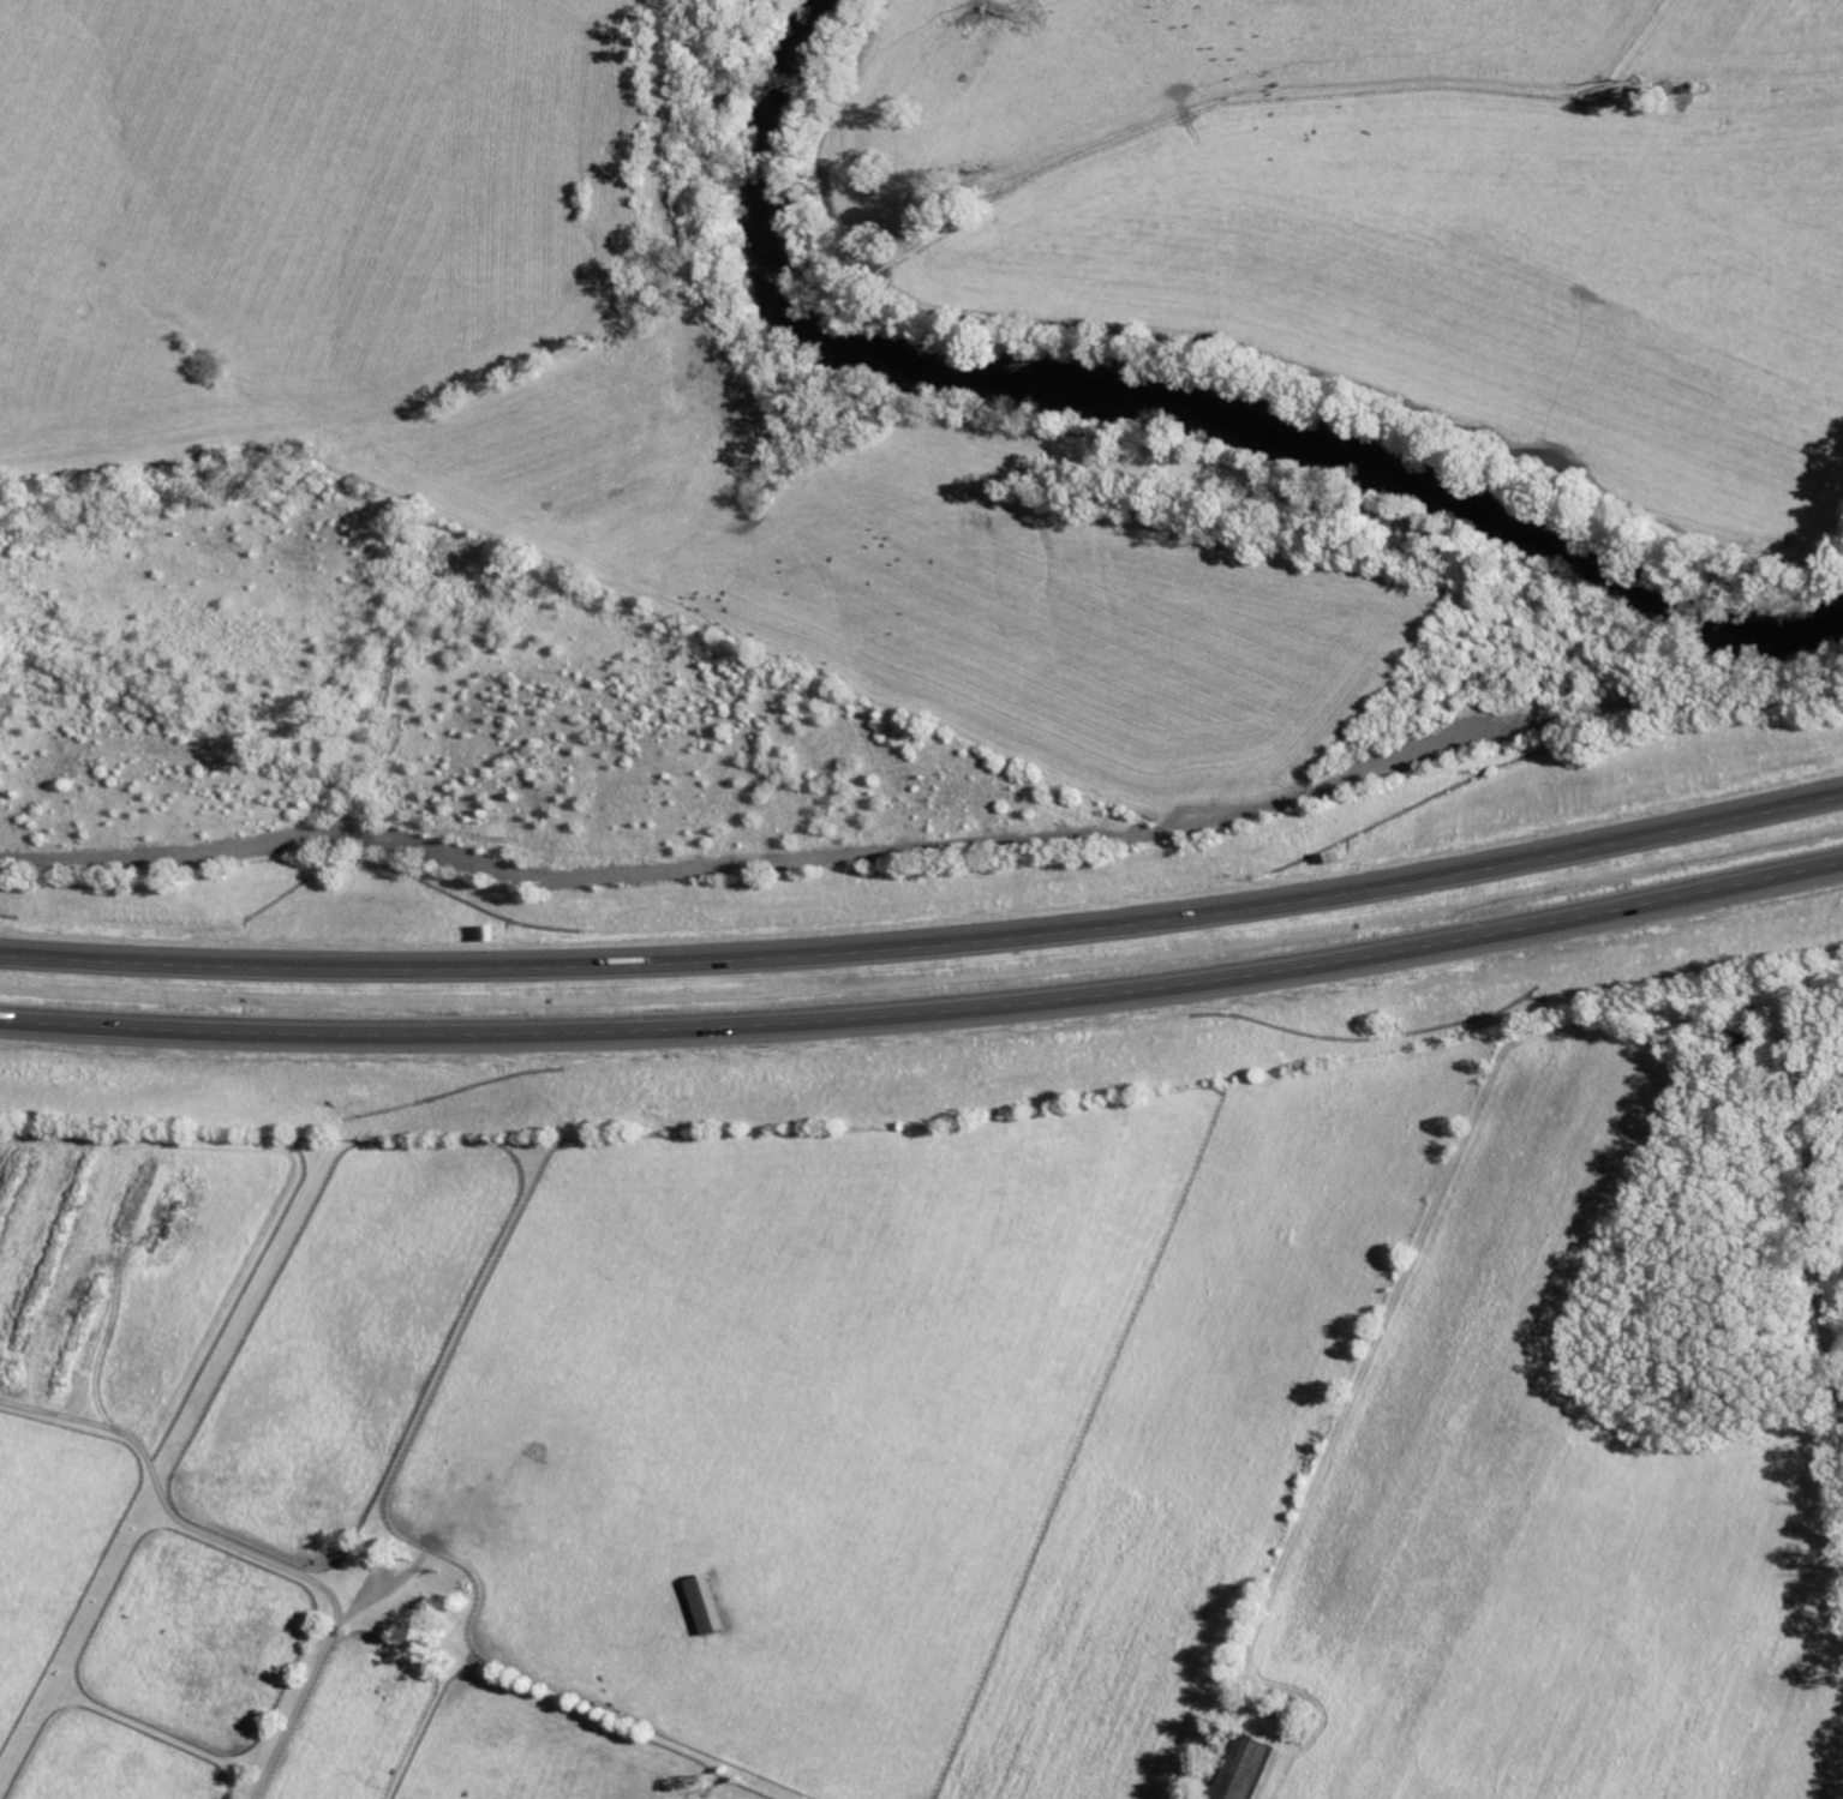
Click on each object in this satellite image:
river: (1189, 415)
road: (927, 941)
road: (927, 1015)
road: (1811, 1240)
building: (701, 1603)
building: (1238, 1768)

